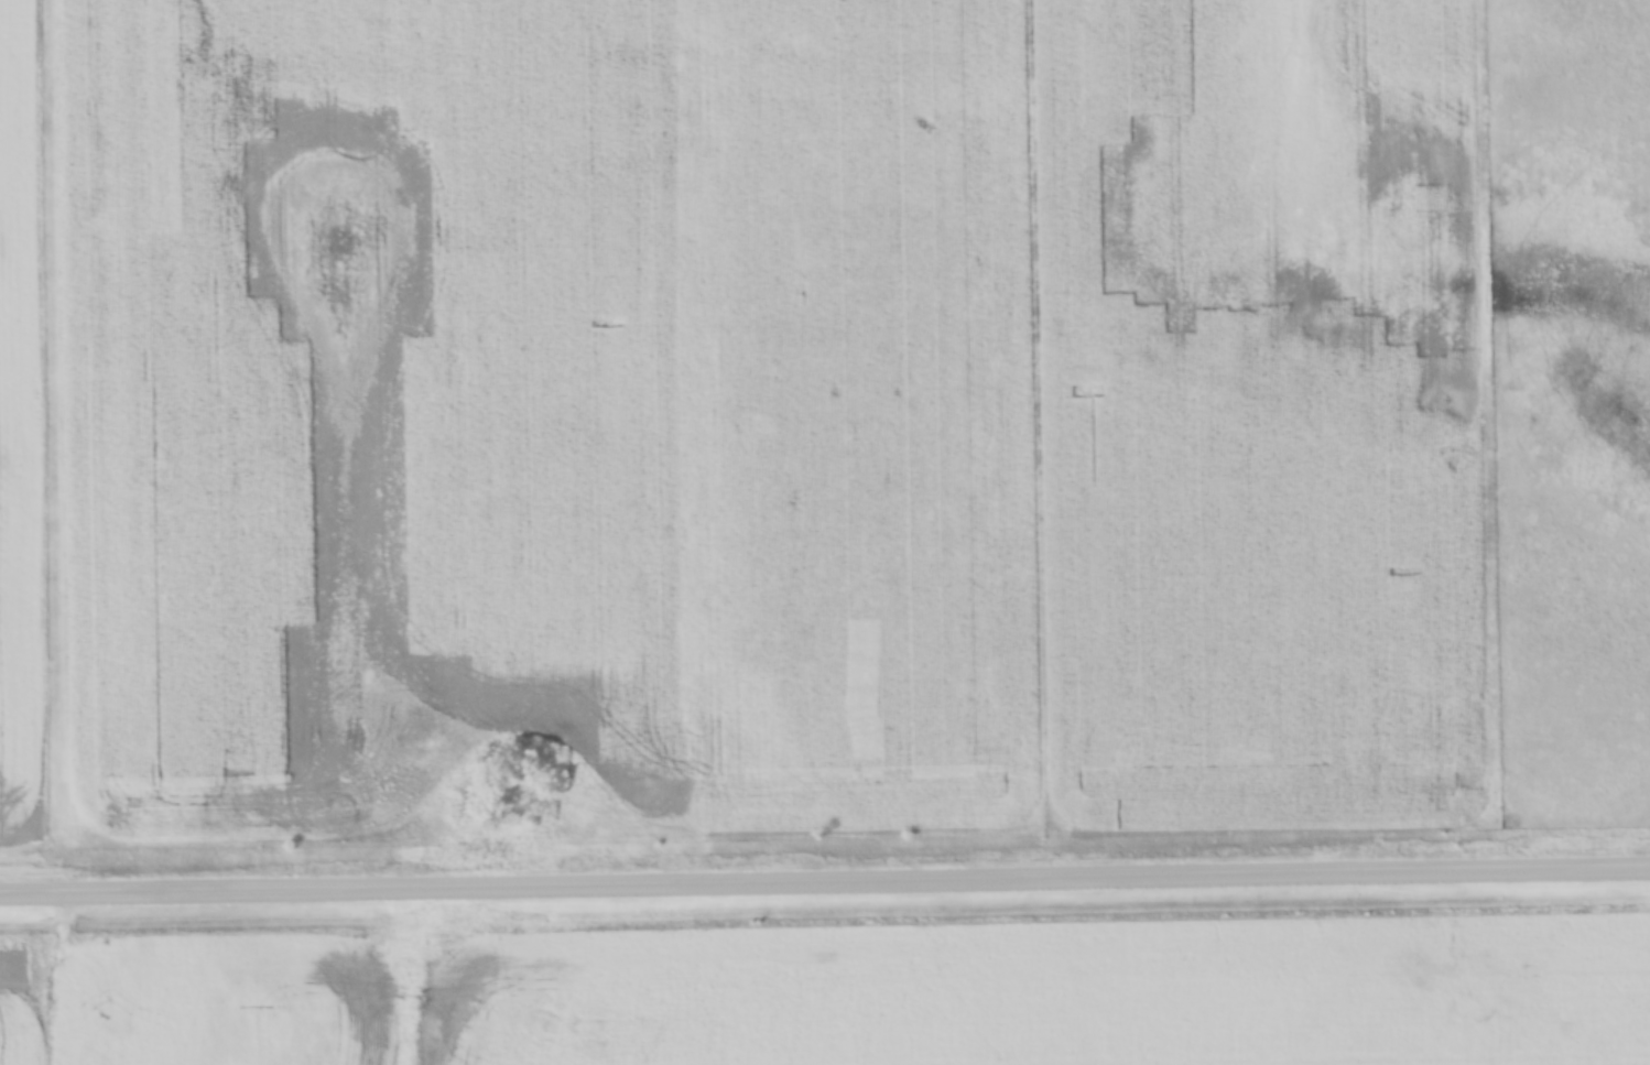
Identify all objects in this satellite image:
road: (825, 882)

